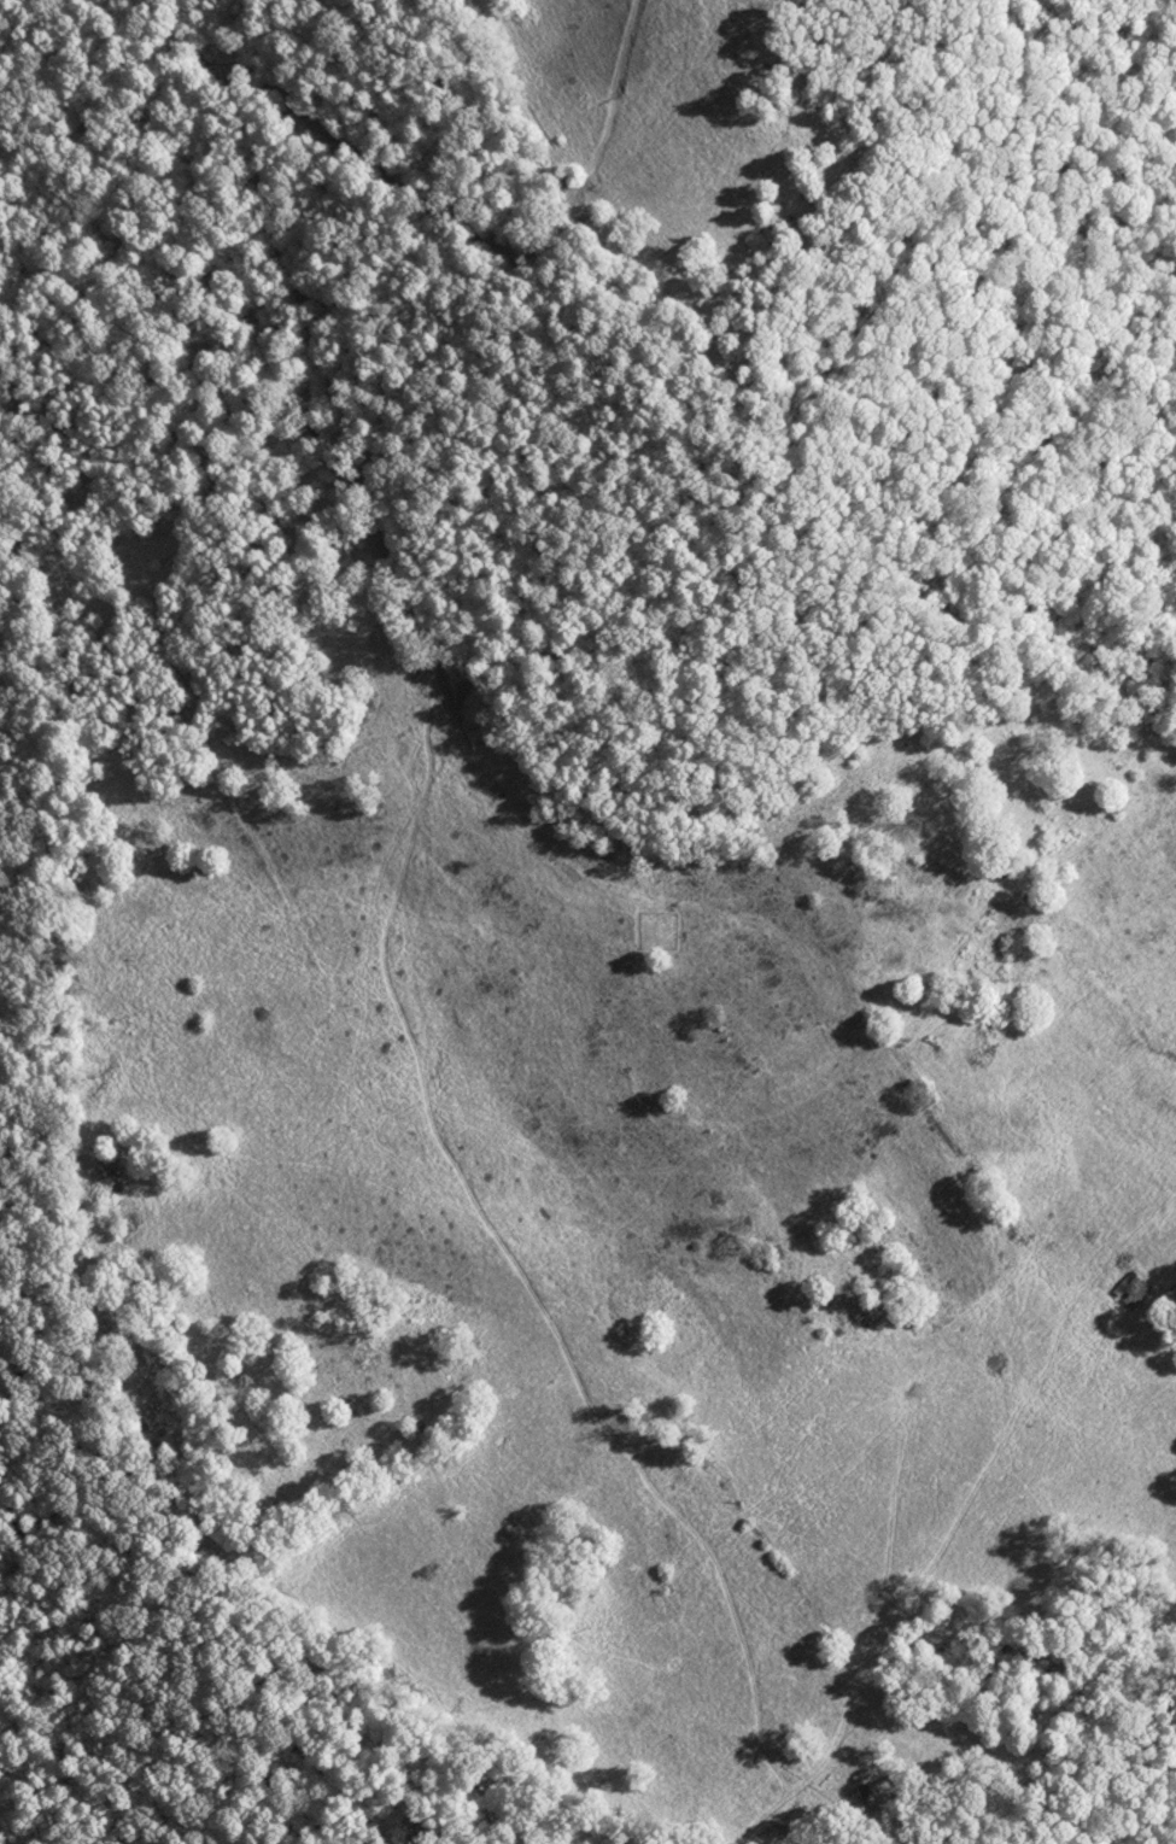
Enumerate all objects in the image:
building: (1129, 1292)

